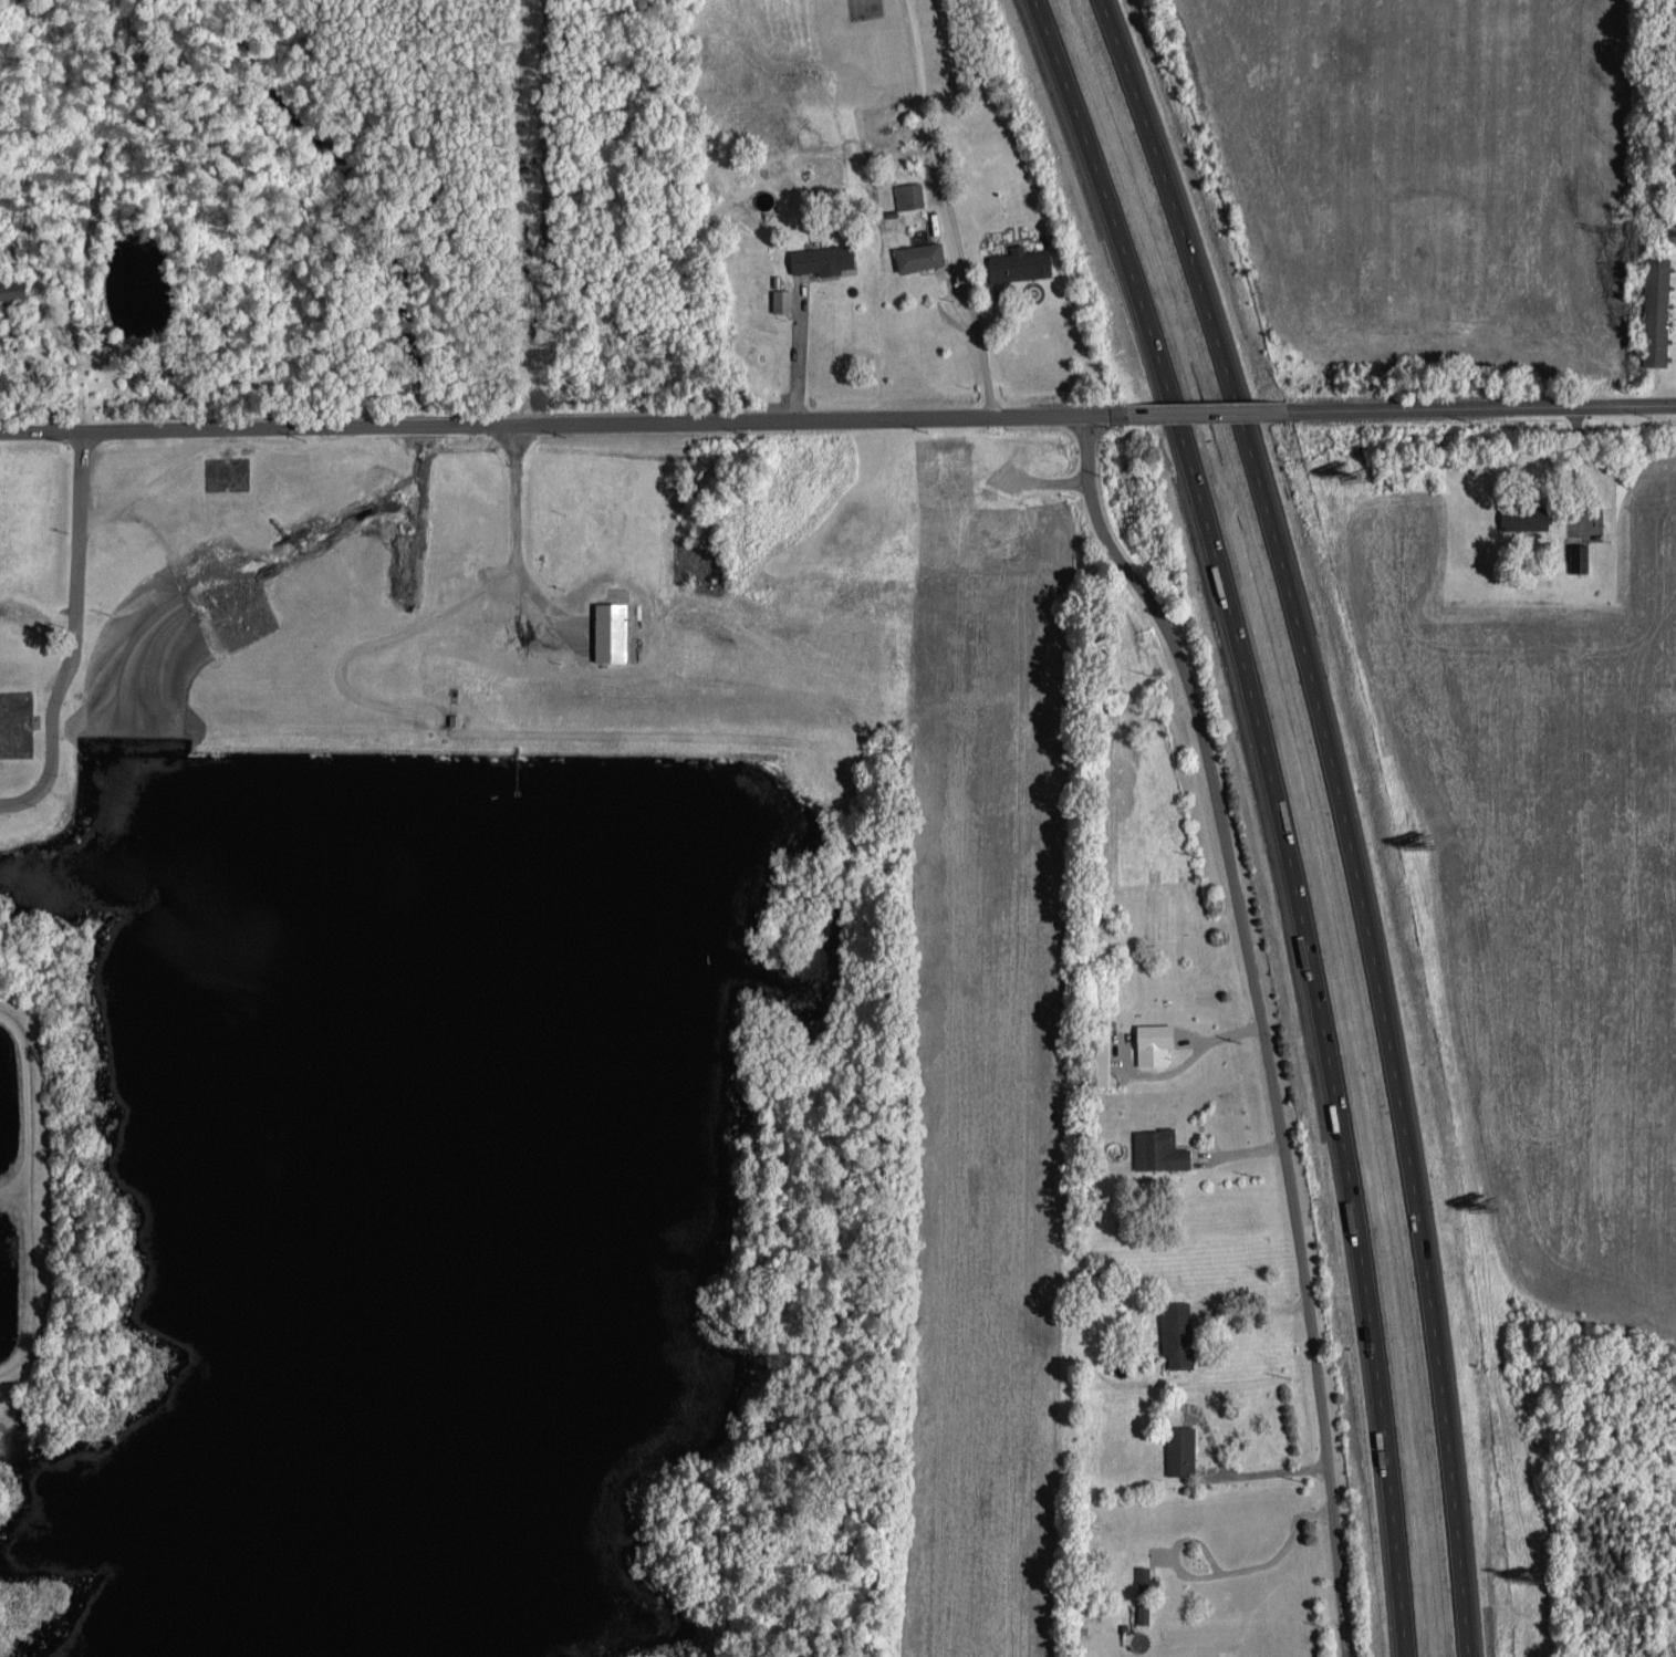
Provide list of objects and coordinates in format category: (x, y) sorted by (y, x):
building: (908, 196)
road: (948, 207)
building: (919, 257)
building: (822, 259)
building: (1019, 268)
building: (12, 288)
building: (782, 299)
building: (1657, 309)
road: (798, 346)
road: (1497, 407)
road: (1214, 414)
road: (1097, 415)
road: (542, 421)
building: (1526, 515)
building: (1580, 555)
building: (612, 631)
road: (1280, 814)
road: (1342, 815)
road: (1261, 1022)
building: (1155, 1041)
building: (1158, 1148)
road: (1252, 1307)
building: (1177, 1332)
building: (1180, 1448)

